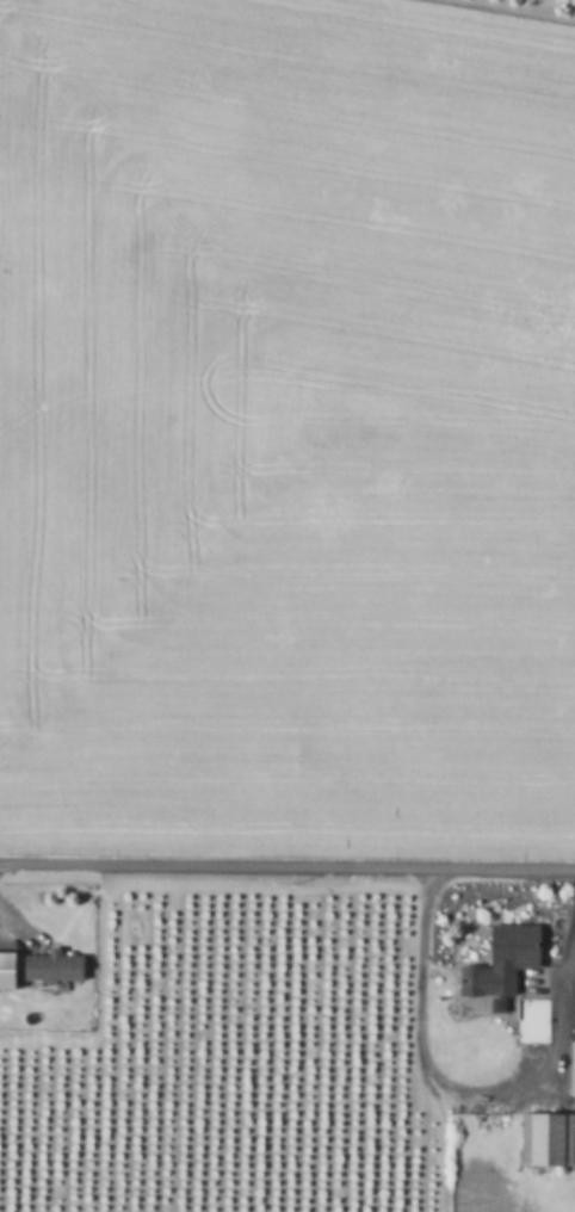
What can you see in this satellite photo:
crop: (287, 606)
road: (286, 862)
building: (501, 959)
building: (50, 965)
building: (4, 967)
building: (571, 1068)
road: (432, 1080)
building: (545, 1138)

